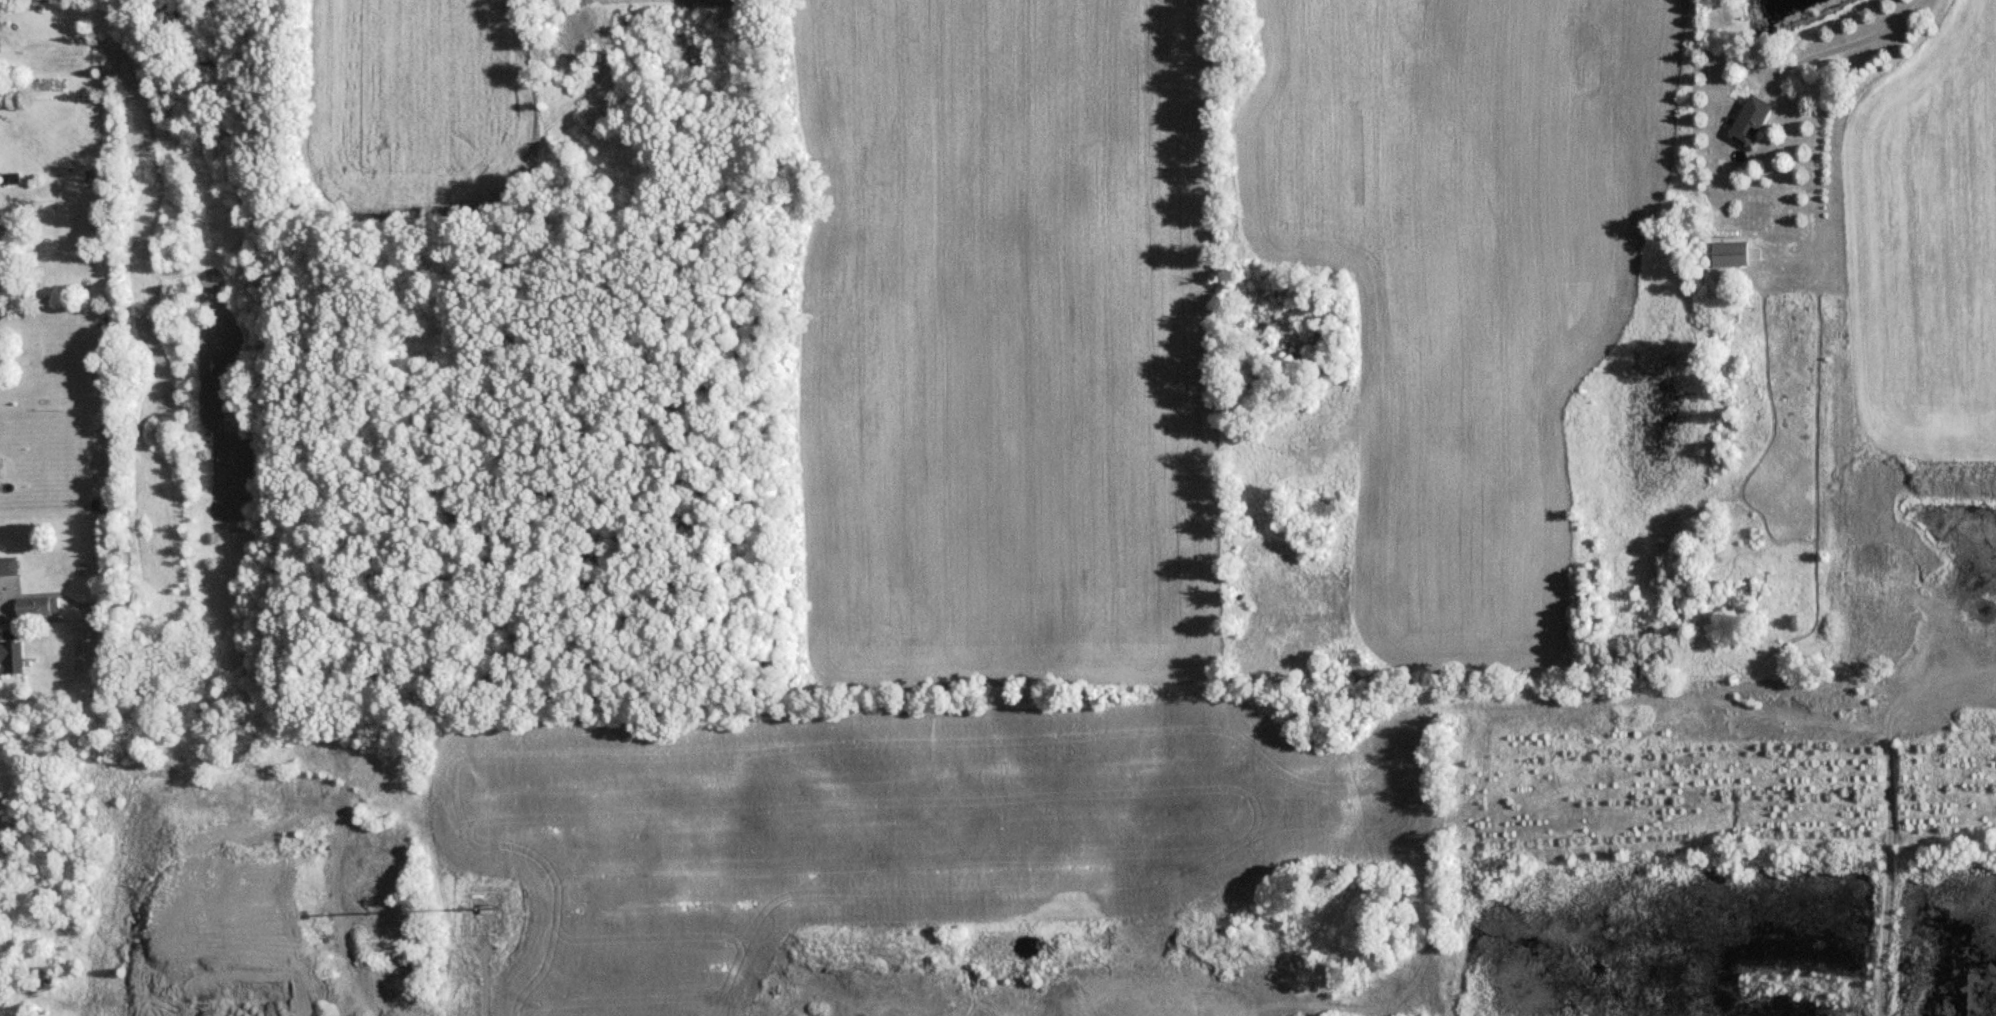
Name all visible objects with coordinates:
road: (1866, 41)
building: (1751, 119)
building: (1732, 252)
building: (9, 566)
building: (37, 605)
building: (93, 605)
building: (12, 656)
road: (484, 974)

